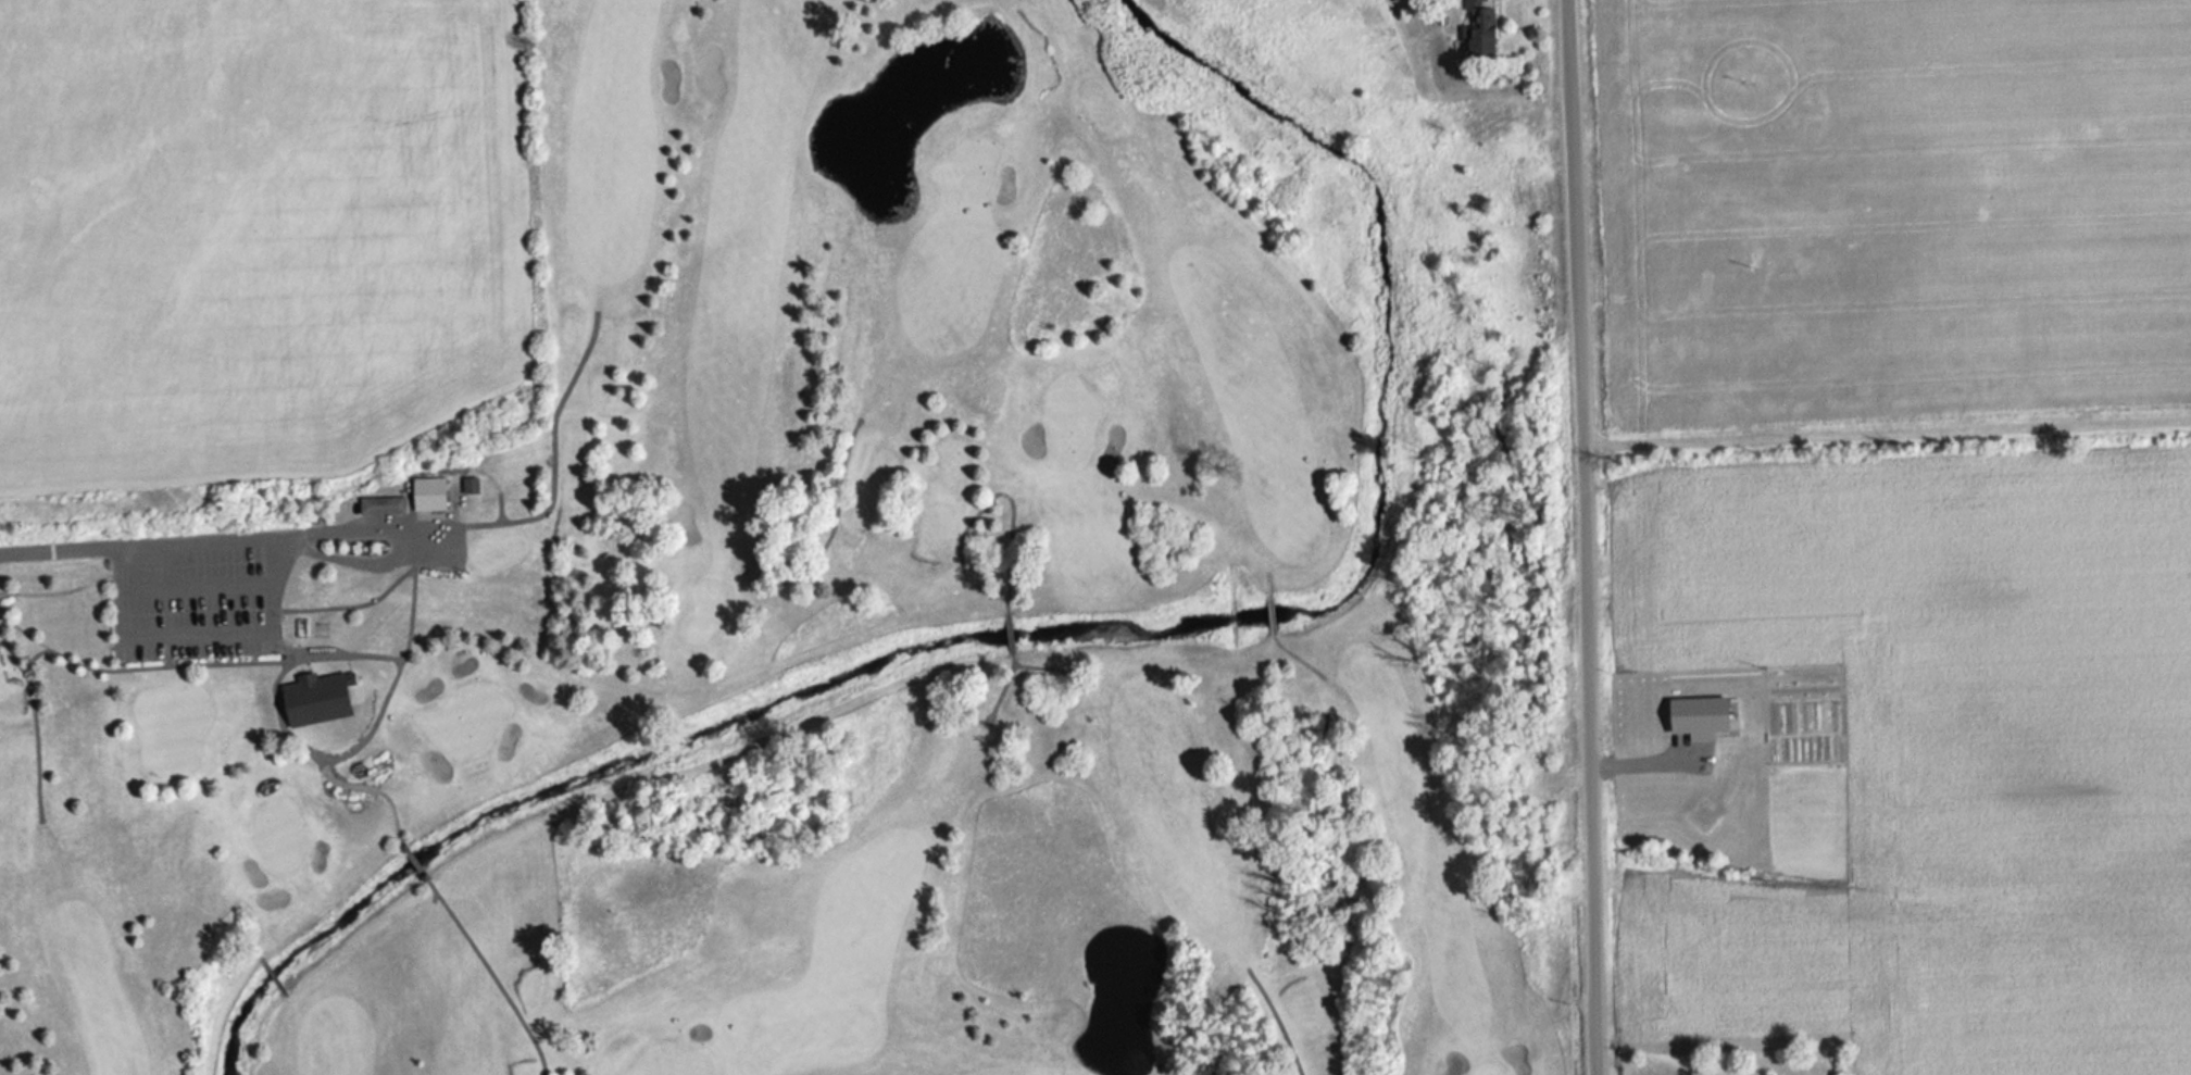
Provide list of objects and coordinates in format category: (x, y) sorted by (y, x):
building: (1482, 28)
fountain: (864, 154)
crop: (249, 233)
road: (1887, 426)
road: (551, 450)
building: (446, 492)
crop: (1914, 503)
building: (383, 504)
road: (1583, 537)
road: (233, 540)
road: (347, 561)
road: (195, 588)
road: (60, 591)
parking lot: (193, 605)
road: (350, 607)
park: (787, 629)
building: (322, 630)
road: (196, 637)
road: (328, 655)
road: (30, 658)
road: (401, 662)
road: (30, 698)
road: (320, 765)
road: (417, 860)
road: (488, 970)
fountain: (1116, 999)
building: (1170, 1071)

